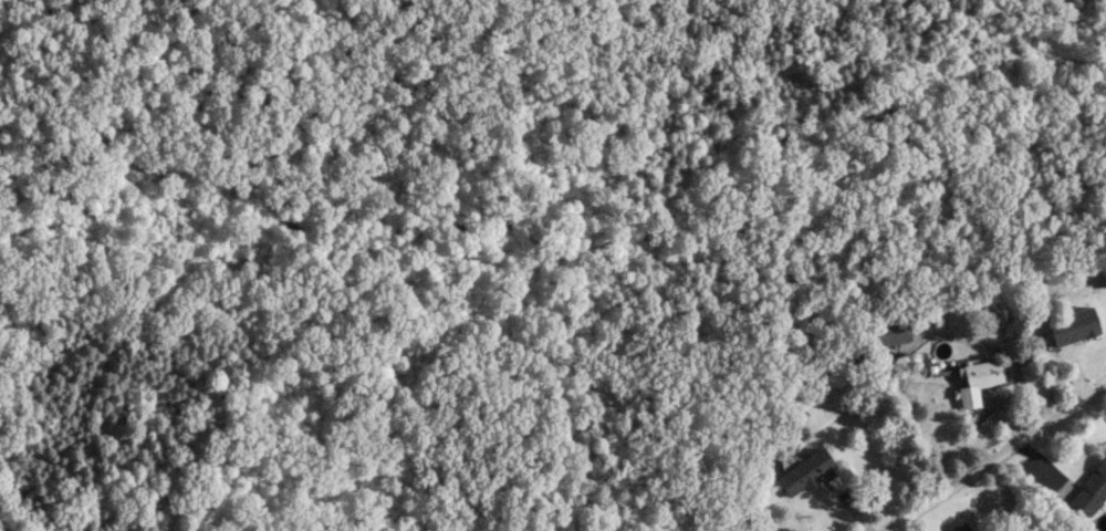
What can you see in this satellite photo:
building: (1070, 325)
building: (884, 333)
building: (974, 381)
road: (998, 457)
building: (802, 471)
building: (1088, 488)
building: (957, 527)

